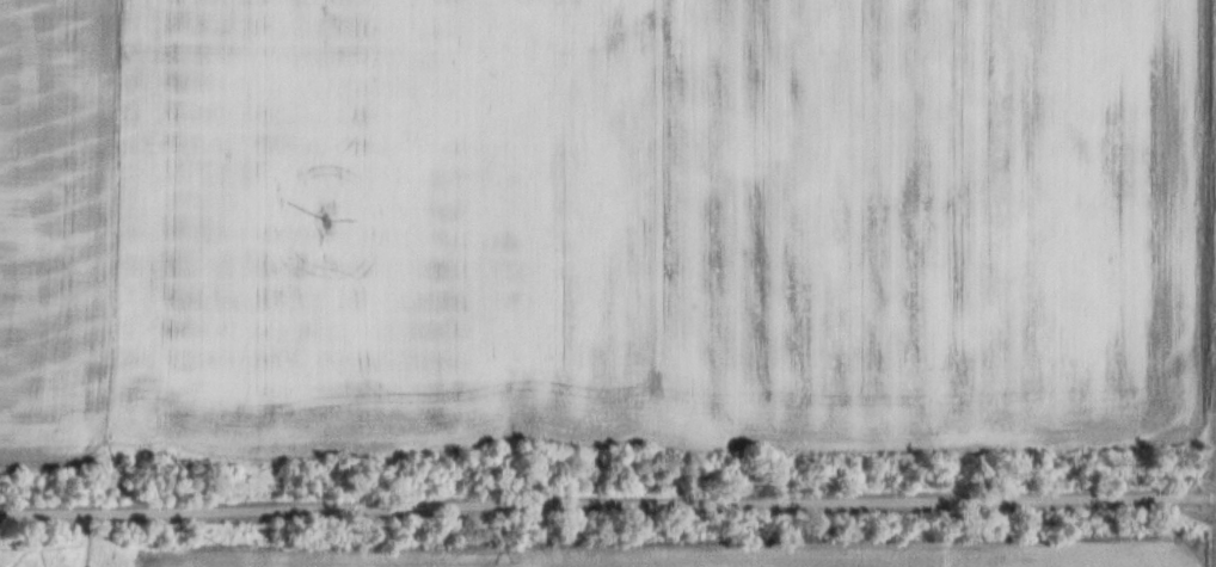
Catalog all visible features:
road: (608, 498)

